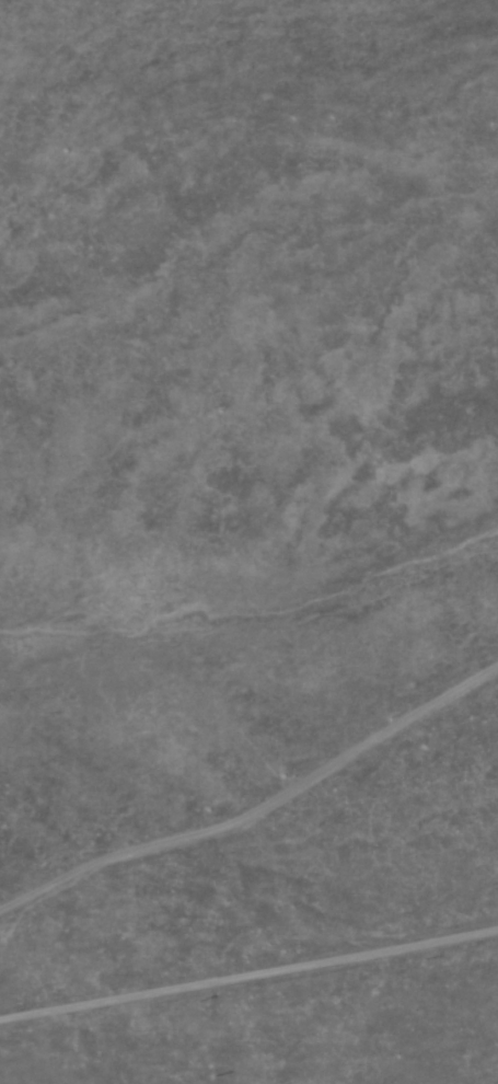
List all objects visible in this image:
road: (248, 976)

